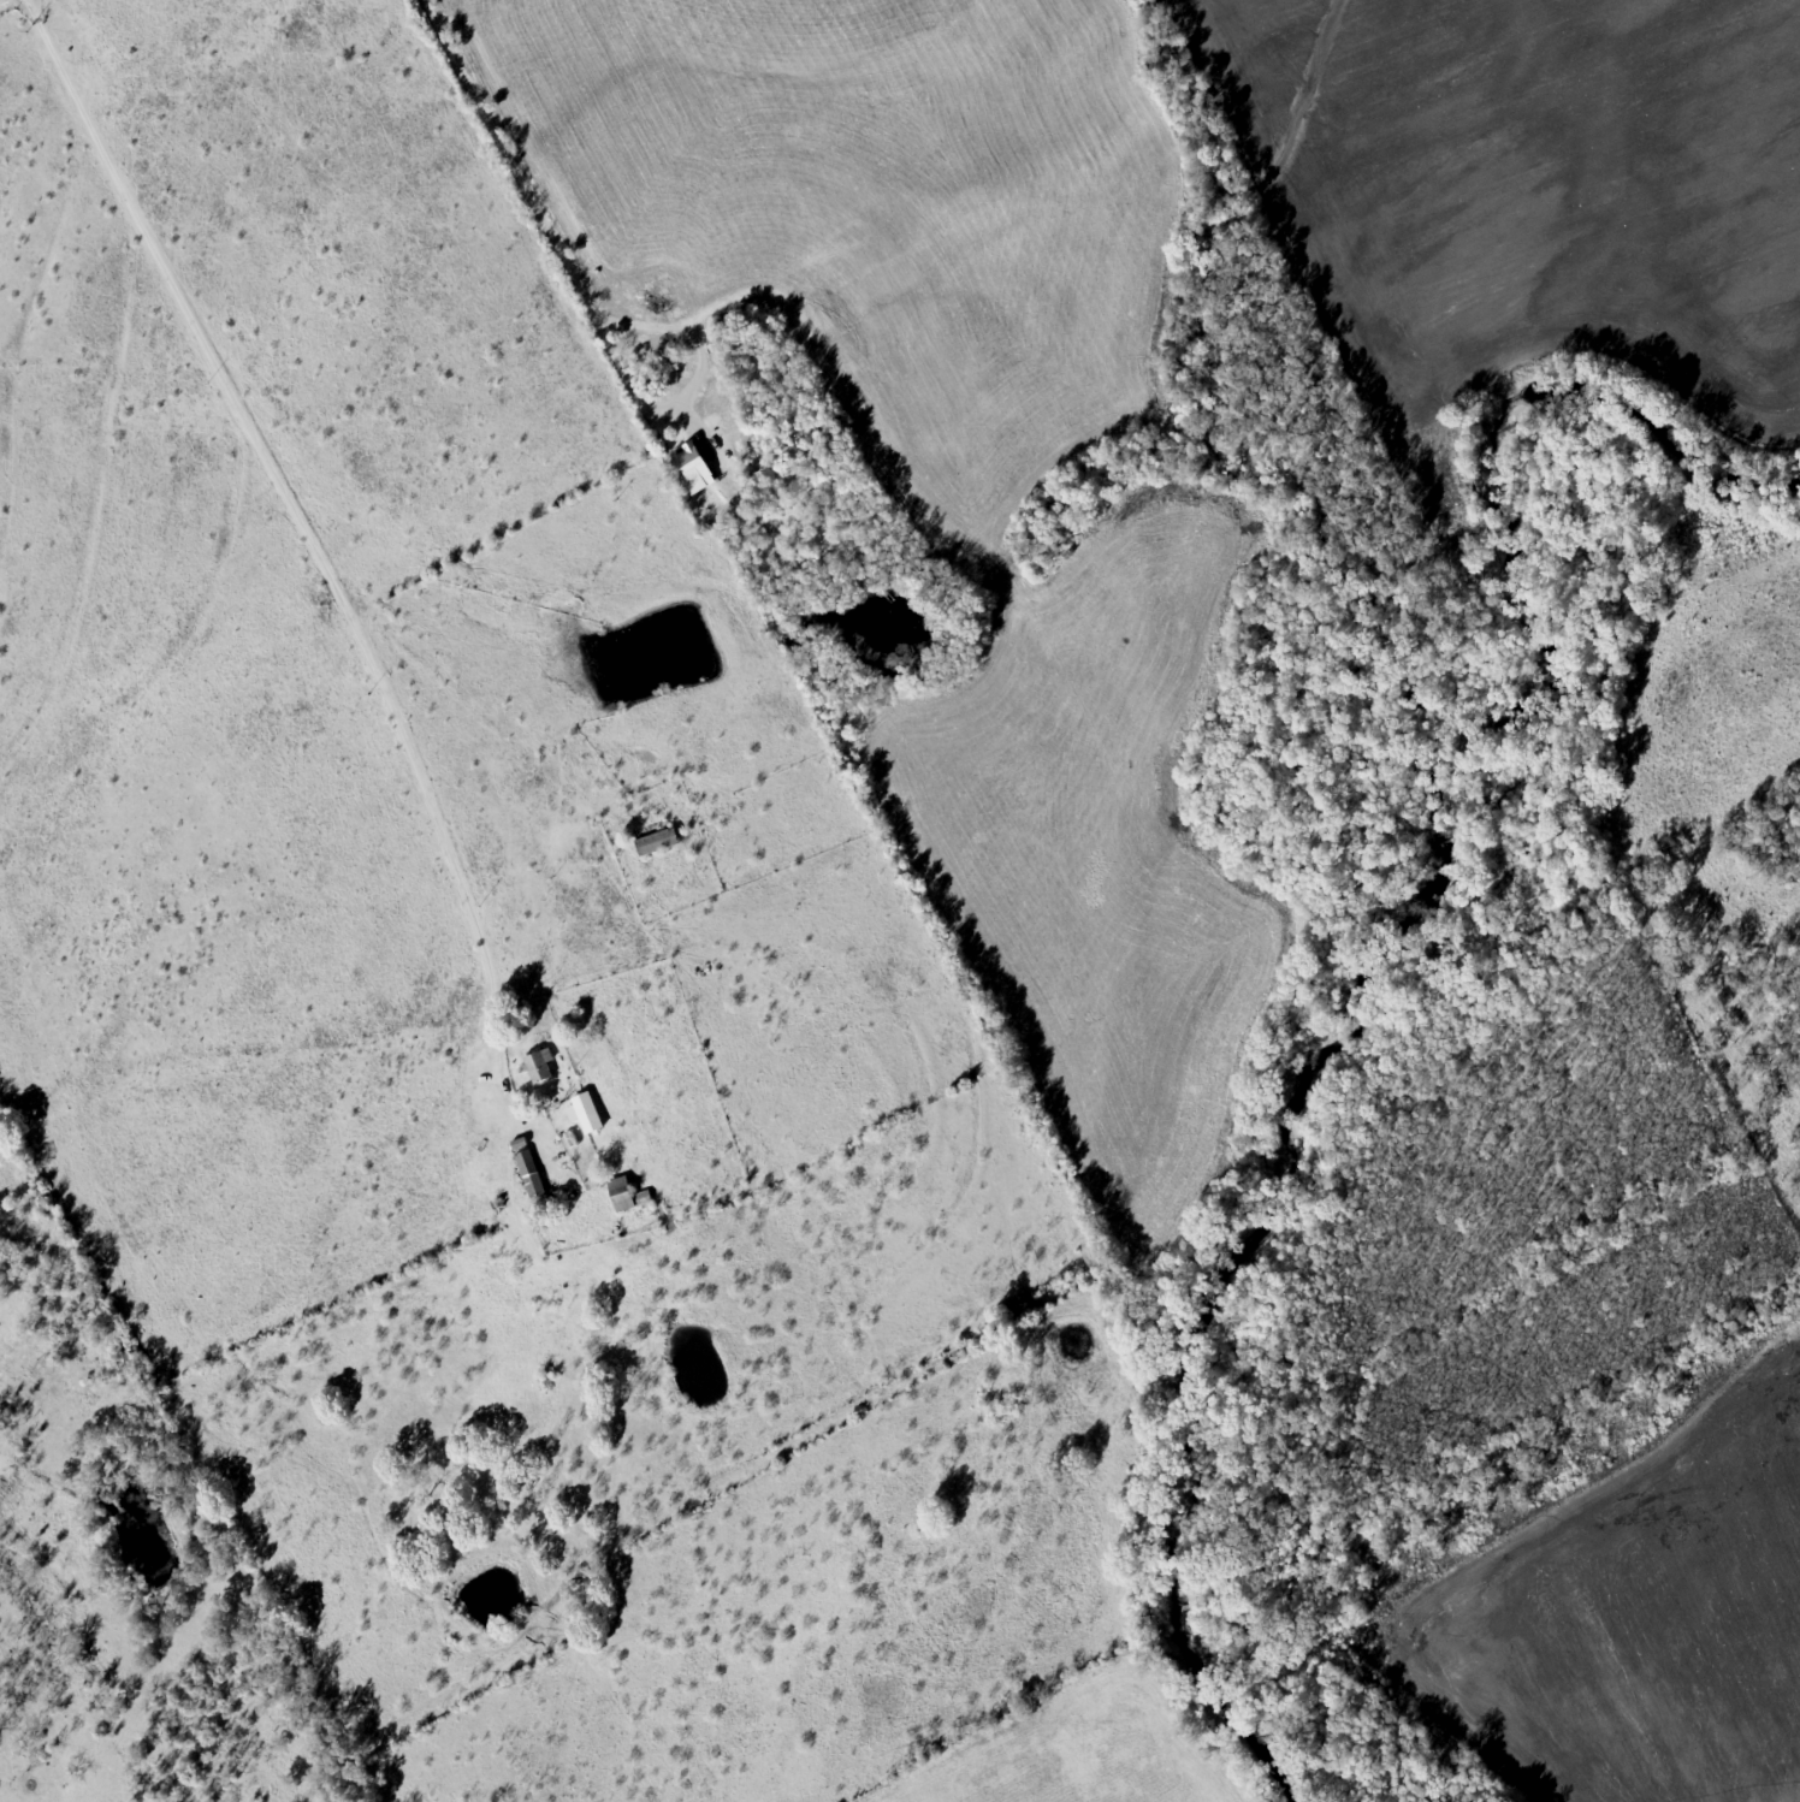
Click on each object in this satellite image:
road: (961, 46)
road: (549, 286)
building: (694, 464)
building: (658, 842)
building: (539, 1066)
building: (584, 1105)
building: (532, 1176)
building: (626, 1196)

